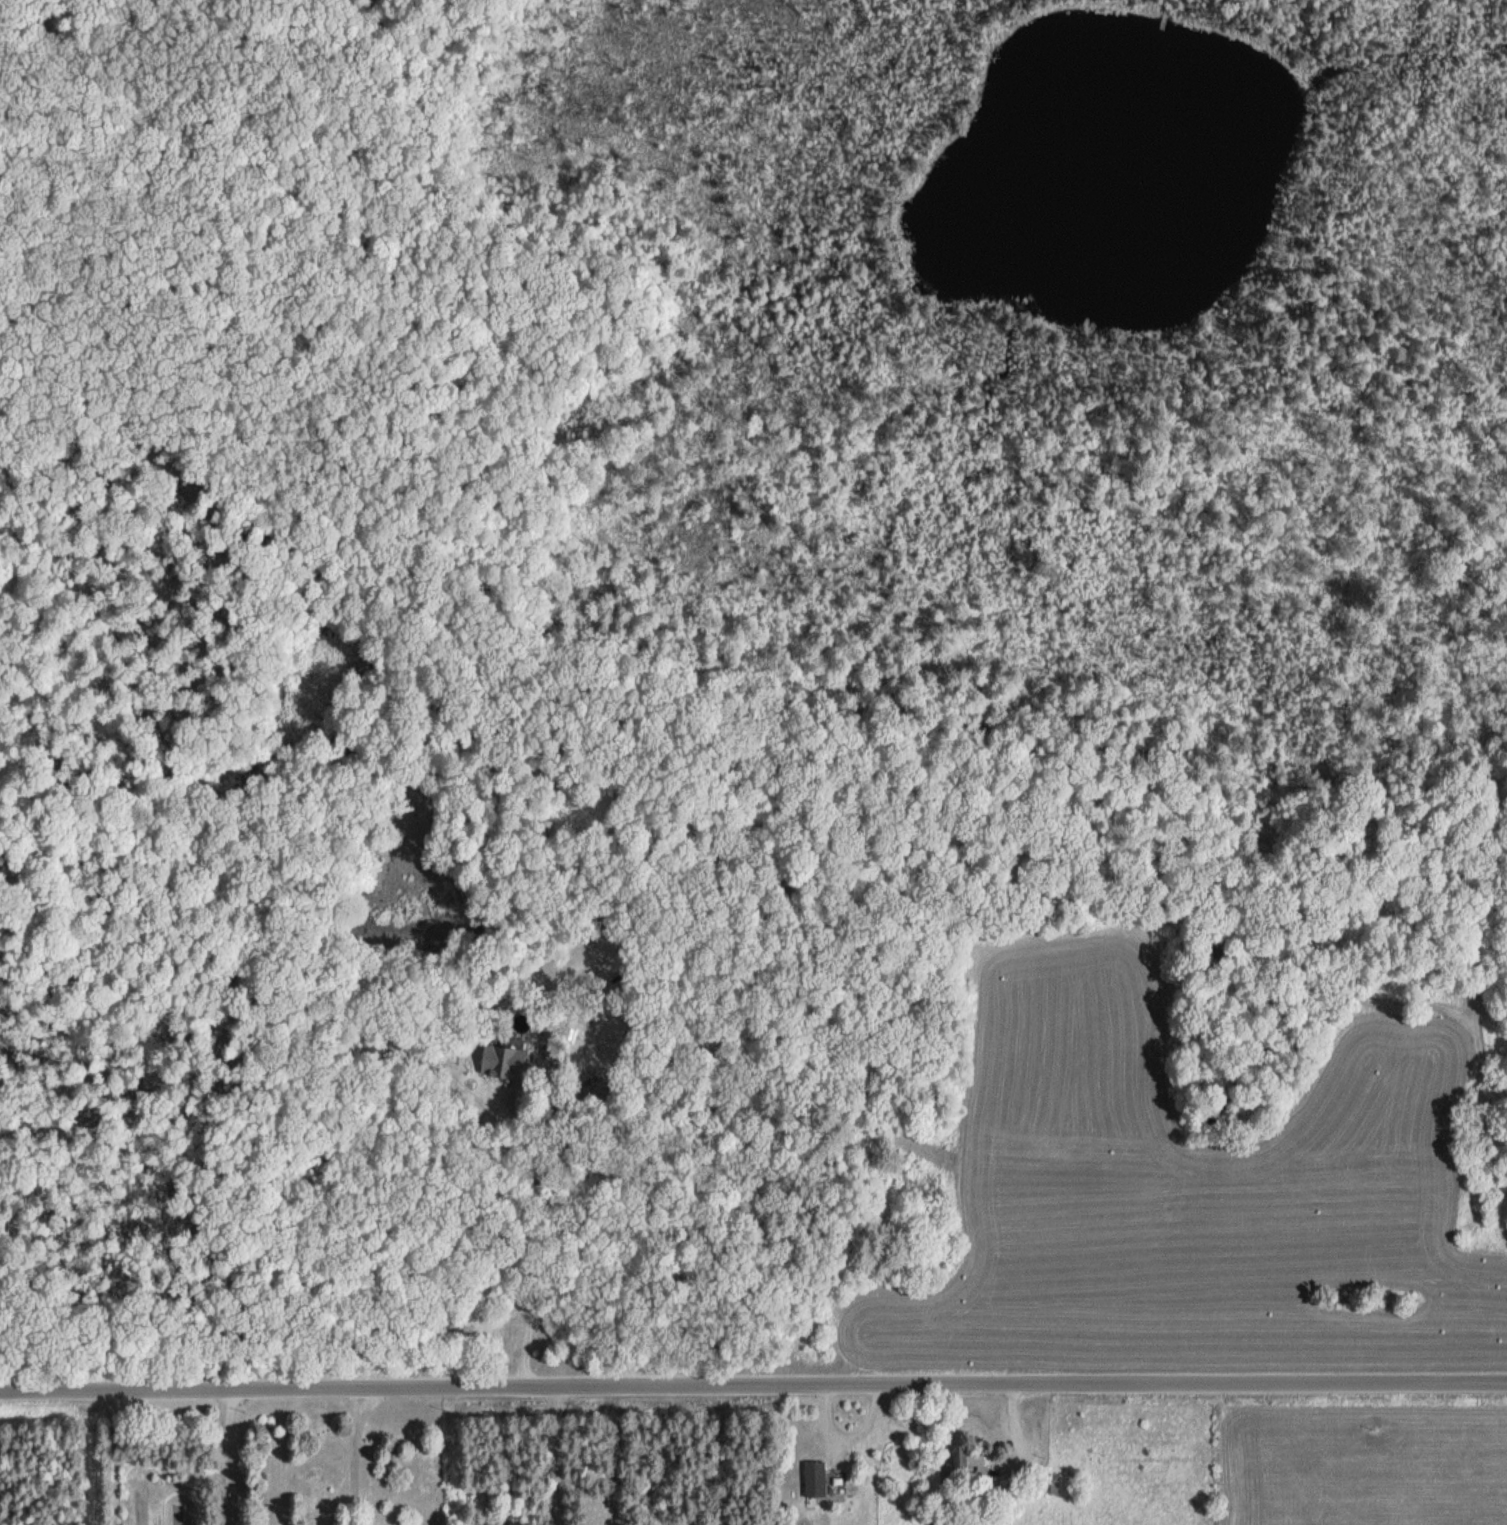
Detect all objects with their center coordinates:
road: (526, 1237)
road: (753, 1383)
road: (827, 1424)
road: (867, 1424)
road: (1014, 1433)
road: (354, 1455)
building: (968, 1456)
road: (239, 1457)
building: (814, 1478)

